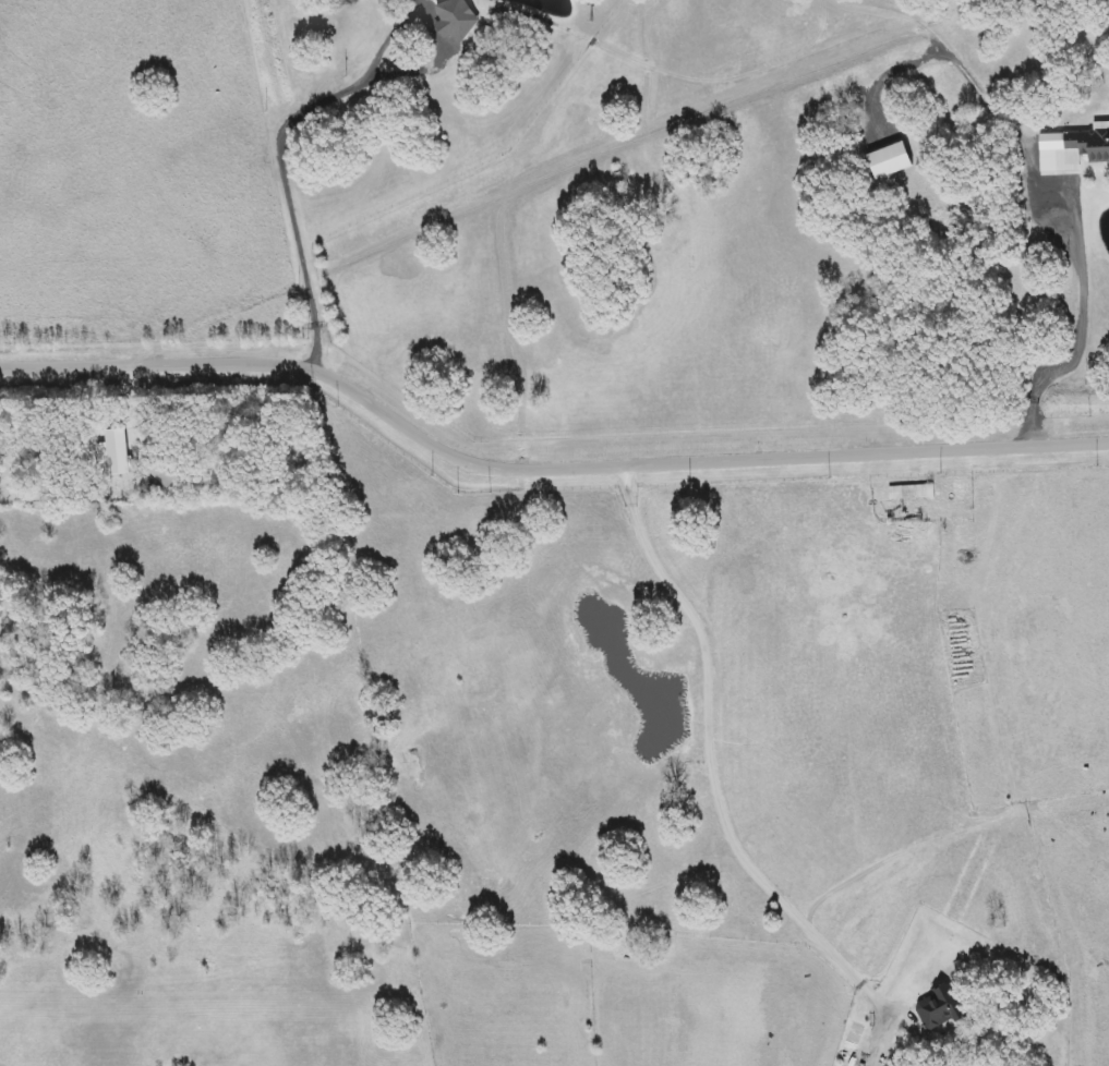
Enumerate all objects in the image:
road: (882, 72)
building: (1073, 148)
road: (282, 157)
building: (891, 160)
road: (1056, 179)
road: (542, 472)
building: (164, 474)
road: (715, 774)
building: (937, 1008)

